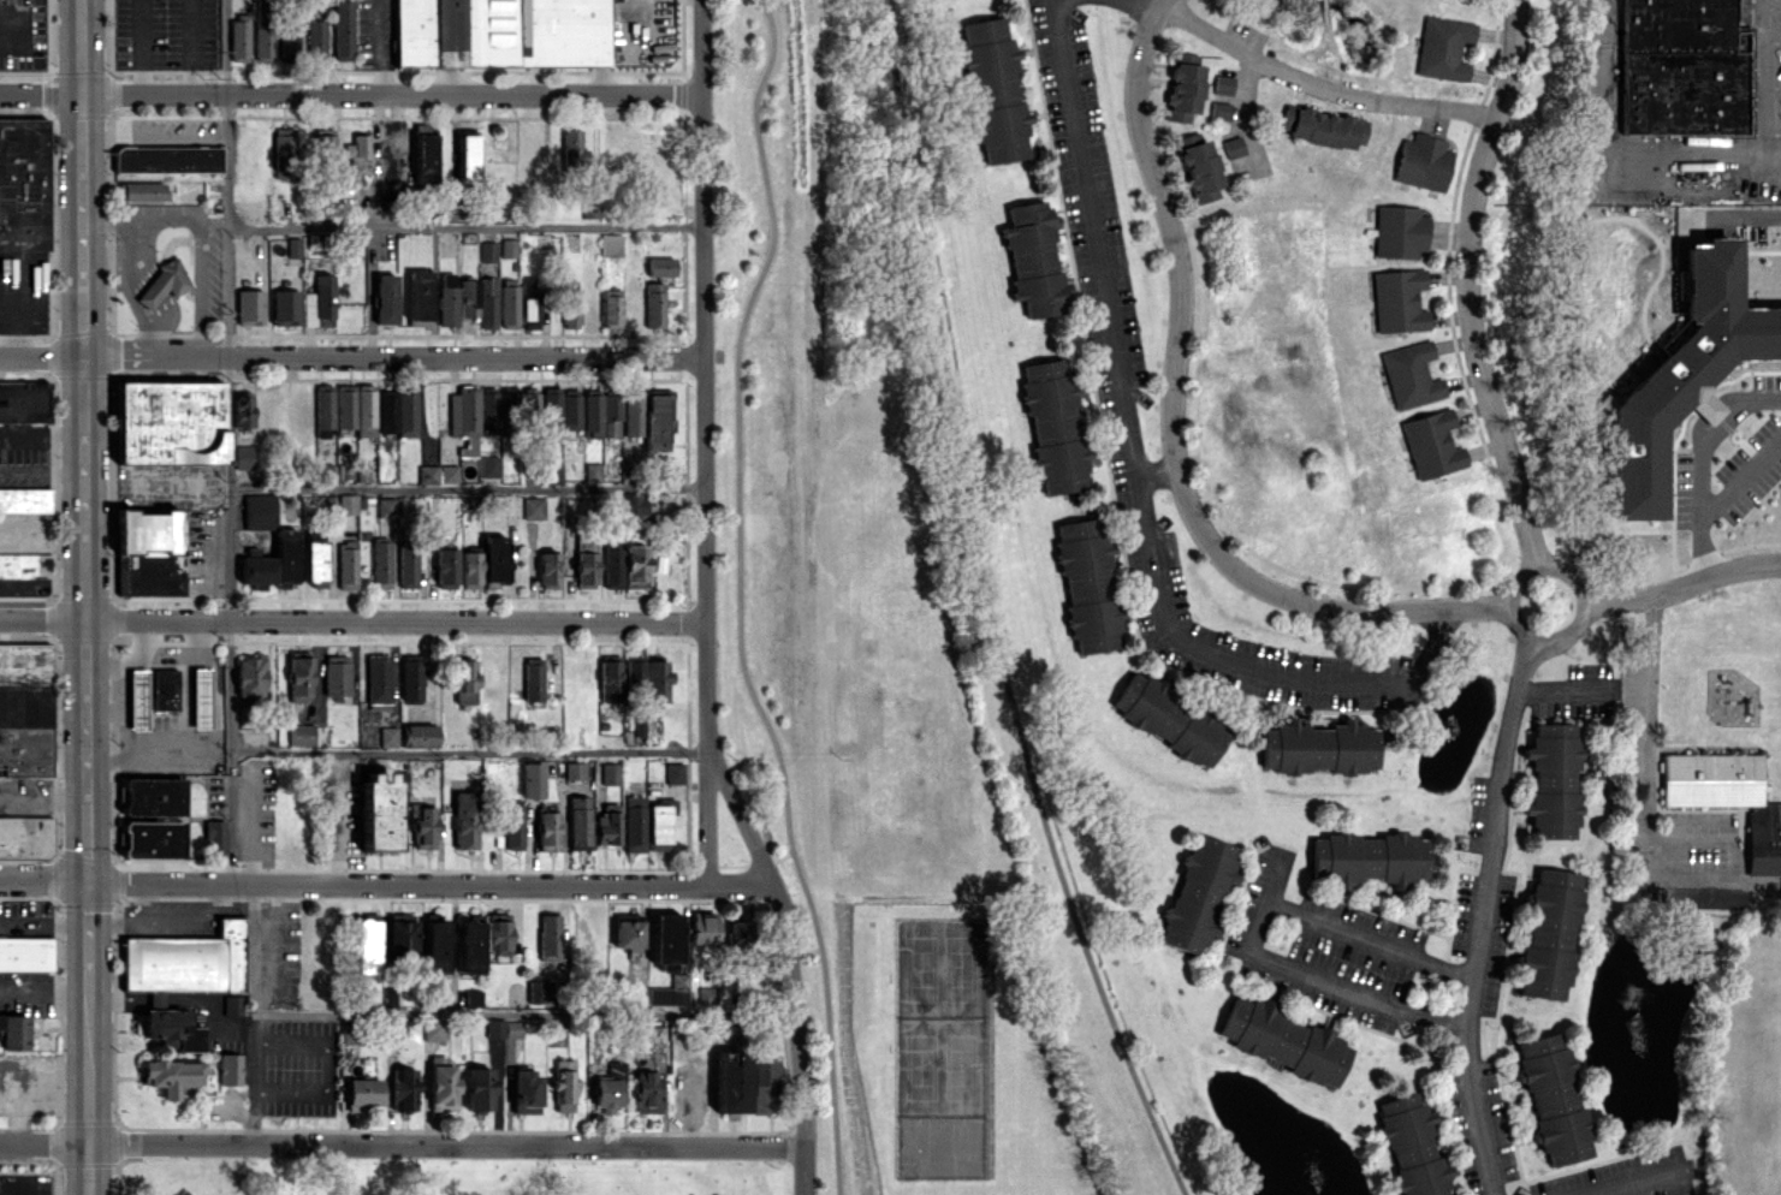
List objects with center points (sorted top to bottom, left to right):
building: (342, 29)
building: (263, 30)
building: (500, 32)
building: (238, 37)
building: (289, 37)
building: (315, 37)
road: (139, 46)
road: (190, 47)
road: (378, 47)
building: (1443, 48)
building: (1679, 67)
road: (1305, 81)
building: (1222, 84)
building: (1183, 85)
building: (993, 91)
road: (350, 94)
road: (1761, 94)
building: (1219, 111)
road: (1245, 115)
building: (1322, 127)
road: (154, 135)
building: (323, 145)
building: (1233, 147)
road: (1610, 148)
building: (572, 149)
building: (283, 153)
building: (358, 153)
building: (423, 153)
building: (467, 157)
building: (167, 159)
building: (1423, 161)
building: (1199, 167)
building: (23, 183)
building: (139, 191)
building: (589, 208)
road: (1746, 216)
road: (139, 219)
road: (464, 226)
building: (1399, 231)
building: (610, 244)
building: (292, 246)
building: (507, 248)
building: (487, 251)
building: (1033, 258)
building: (660, 266)
building: (164, 283)
road: (1466, 284)
road: (149, 285)
road: (198, 287)
building: (418, 297)
building: (385, 298)
building: (446, 298)
building: (479, 299)
building: (1397, 301)
building: (319, 302)
building: (509, 303)
building: (528, 304)
building: (654, 304)
building: (249, 307)
building: (285, 307)
building: (570, 307)
building: (610, 308)
road: (1177, 339)
road: (351, 355)
building: (1684, 374)
building: (1409, 375)
road: (227, 386)
building: (518, 400)
building: (24, 402)
building: (356, 408)
building: (241, 410)
building: (386, 410)
building: (560, 410)
building: (323, 412)
building: (405, 412)
building: (600, 414)
building: (633, 414)
building: (471, 415)
building: (170, 421)
building: (655, 421)
building: (1052, 424)
road: (42, 435)
road: (84, 440)
road: (704, 444)
building: (1431, 444)
building: (243, 457)
road: (1692, 463)
building: (488, 465)
road: (1158, 470)
building: (592, 471)
building: (552, 472)
building: (427, 474)
building: (447, 474)
road: (1139, 480)
road: (1738, 483)
road: (467, 488)
building: (24, 499)
building: (346, 504)
building: (634, 506)
building: (386, 507)
building: (533, 507)
building: (148, 552)
building: (313, 558)
building: (494, 560)
building: (346, 564)
building: (380, 564)
building: (584, 564)
building: (612, 564)
building: (25, 565)
building: (445, 565)
building: (636, 565)
building: (406, 566)
building: (469, 569)
building: (548, 570)
road: (1684, 584)
building: (1087, 585)
road: (737, 597)
railway: (819, 597)
road: (989, 608)
road: (1419, 608)
road: (352, 618)
road: (147, 635)
road: (198, 635)
road: (1559, 637)
building: (634, 673)
road: (213, 674)
building: (336, 674)
building: (249, 677)
building: (299, 677)
building: (608, 677)
building: (378, 678)
building: (657, 678)
building: (411, 679)
building: (533, 679)
building: (465, 680)
road: (103, 682)
building: (165, 689)
road: (1562, 692)
building: (200, 697)
building: (25, 708)
building: (1168, 719)
building: (301, 733)
building: (418, 735)
building: (387, 736)
building: (1317, 747)
road: (469, 749)
building: (574, 769)
building: (673, 772)
building: (610, 773)
building: (532, 779)
building: (1551, 780)
road: (43, 793)
building: (1727, 798)
road: (1648, 808)
building: (379, 810)
building: (153, 818)
building: (464, 820)
building: (634, 824)
building: (607, 825)
building: (422, 826)
building: (512, 826)
building: (657, 826)
building: (548, 831)
building: (215, 834)
building: (25, 837)
building: (1367, 857)
building: (1634, 874)
road: (1275, 876)
traffic signals: (88, 881)
road: (388, 884)
building: (1197, 893)
road: (1483, 914)
building: (702, 927)
building: (737, 932)
road: (1255, 932)
building: (499, 934)
building: (629, 934)
building: (1546, 934)
building: (550, 937)
road: (88, 938)
building: (400, 938)
building: (665, 941)
building: (435, 944)
building: (366, 945)
building: (470, 945)
building: (26, 953)
road: (790, 963)
building: (183, 977)
building: (540, 991)
building: (670, 992)
road: (118, 995)
road: (155, 995)
building: (707, 995)
road: (44, 1000)
building: (232, 1004)
road: (215, 1006)
road: (254, 1013)
road: (523, 1015)
park: (938, 1015)
building: (504, 1028)
building: (433, 1029)
building: (13, 1030)
building: (557, 1035)
building: (1283, 1041)
building: (230, 1069)
building: (171, 1075)
building: (731, 1082)
building: (483, 1084)
building: (564, 1084)
building: (441, 1086)
building: (403, 1089)
building: (647, 1089)
building: (526, 1090)
building: (362, 1093)
road: (89, 1095)
building: (606, 1095)
building: (1551, 1098)
road: (44, 1142)
road: (446, 1146)
building: (1412, 1146)
park: (444, 1176)
road: (1638, 1183)

